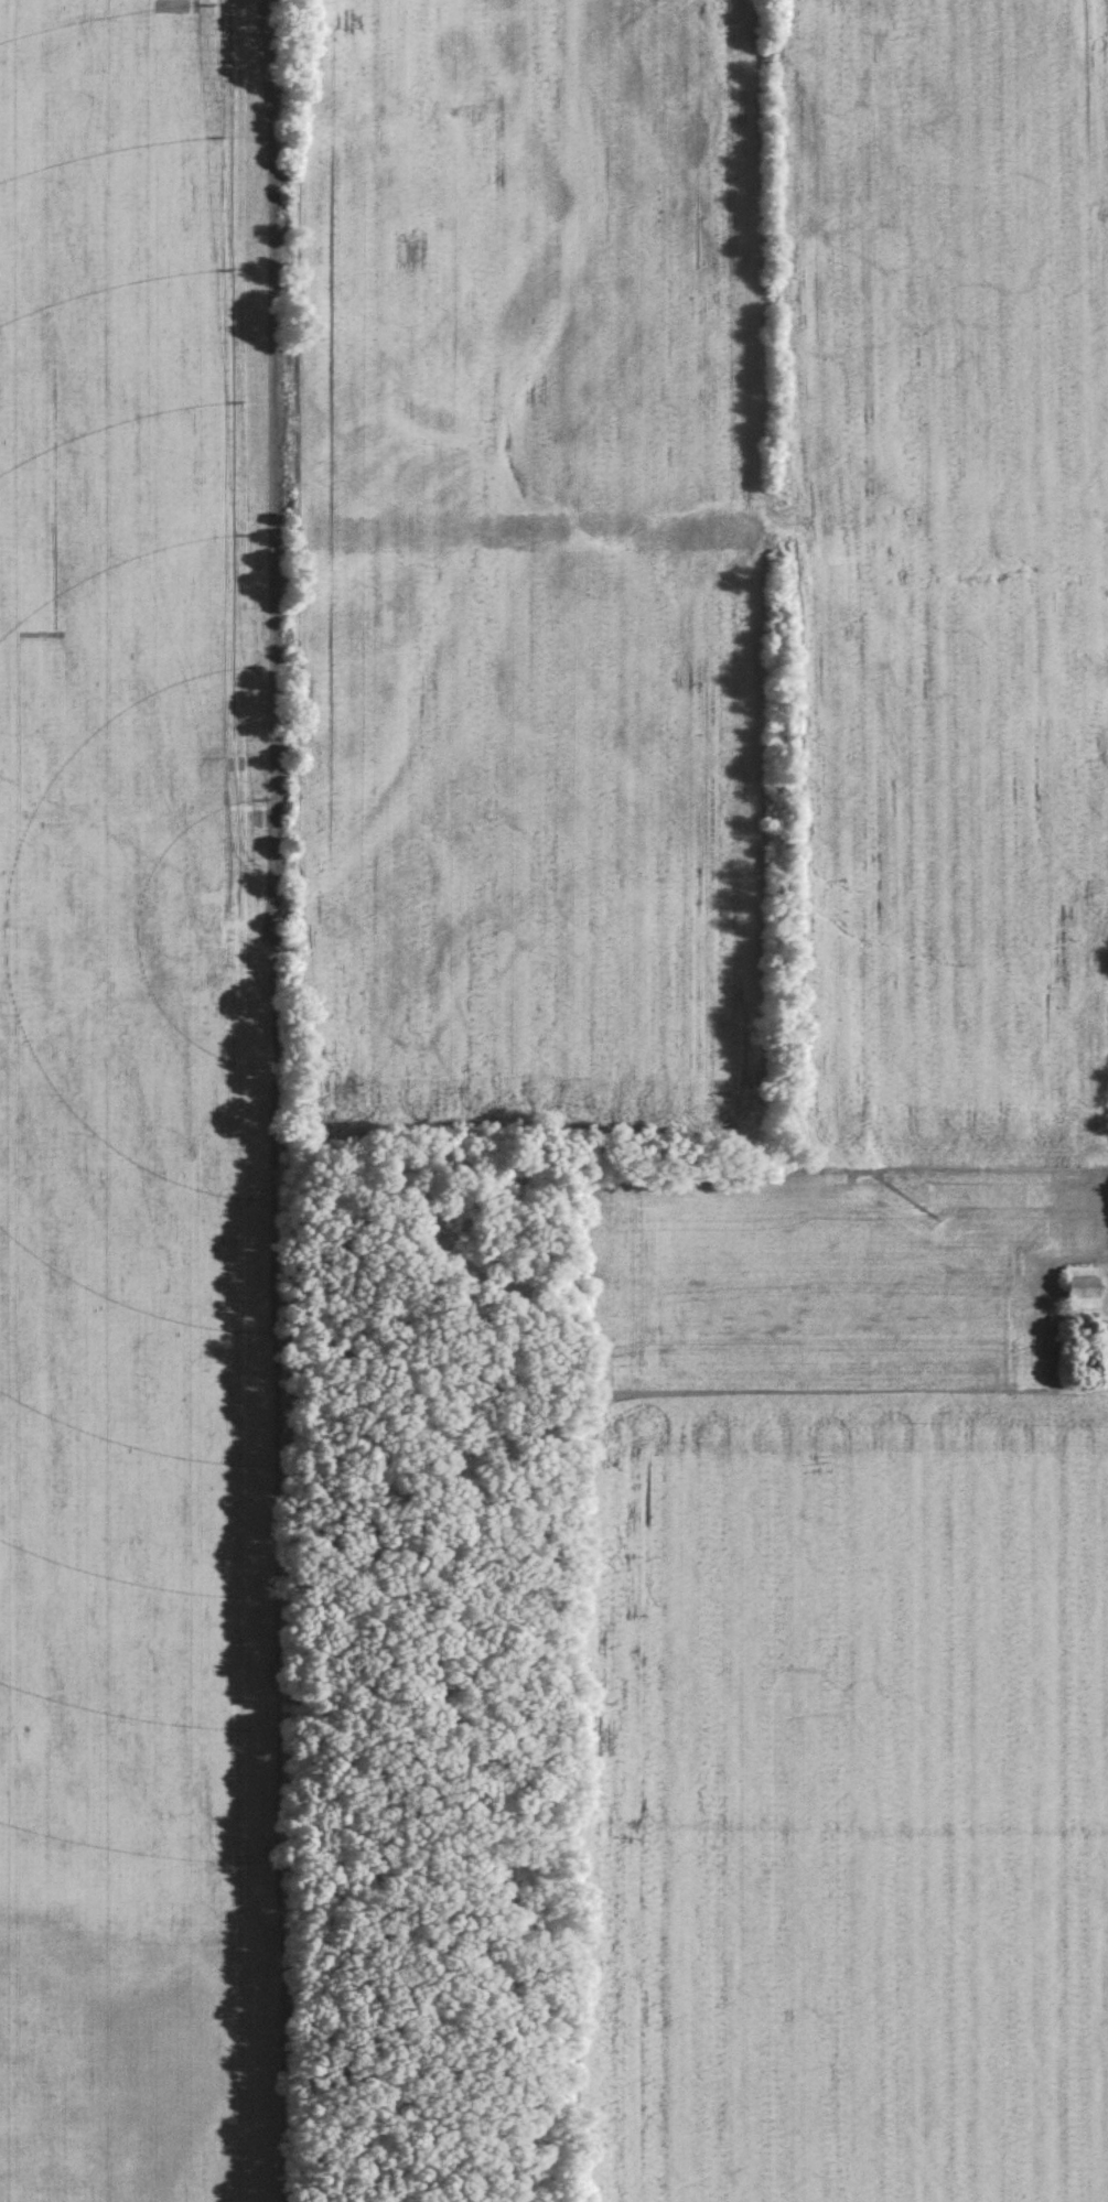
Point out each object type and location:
building: (1082, 1288)

